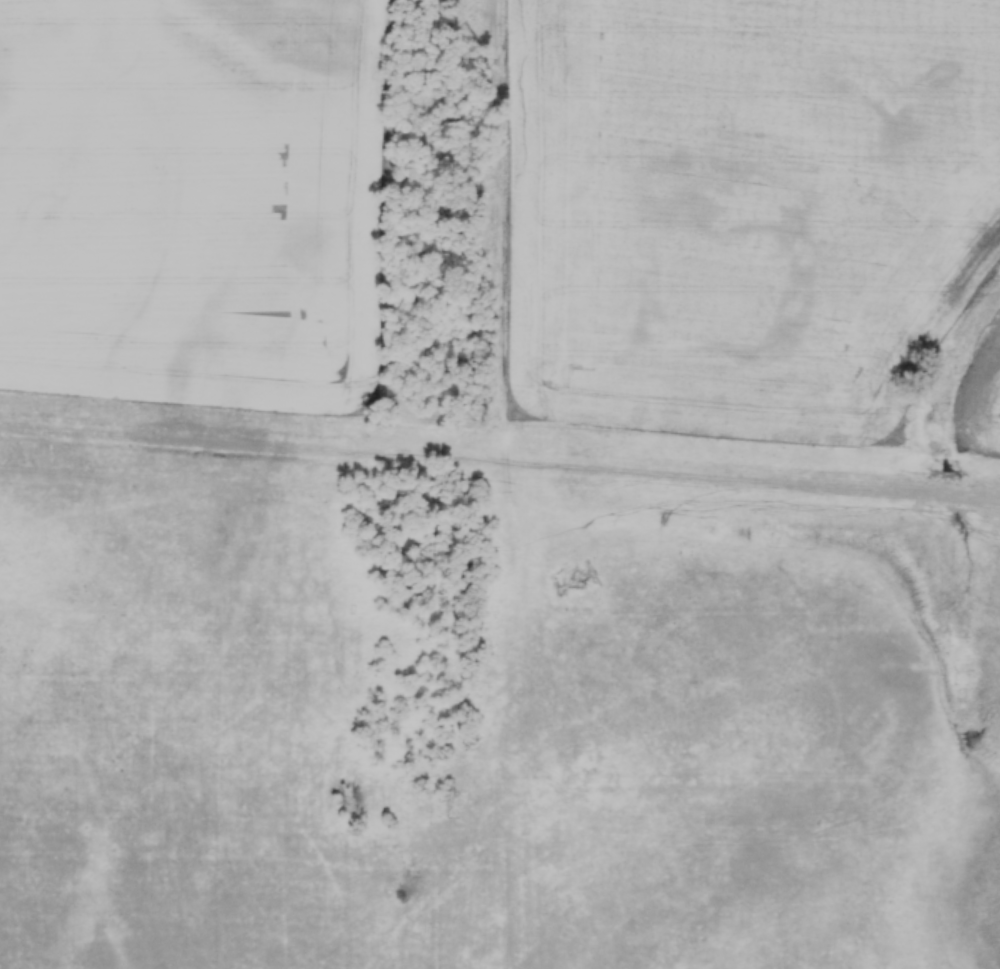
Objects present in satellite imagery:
road: (509, 212)

